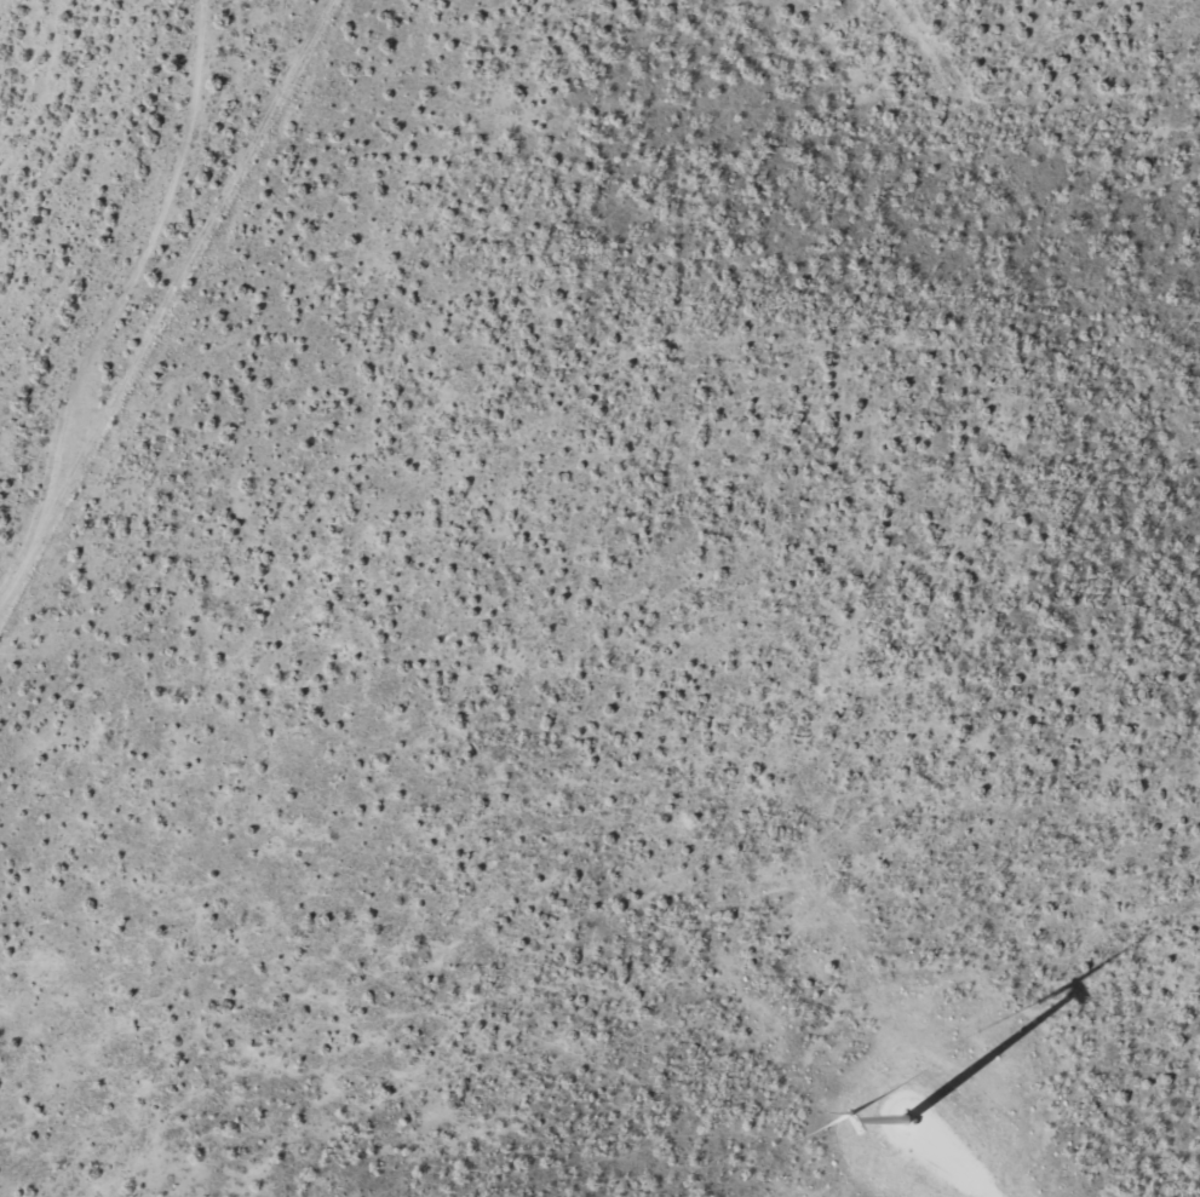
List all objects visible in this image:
wind turbine: (907, 1120)

